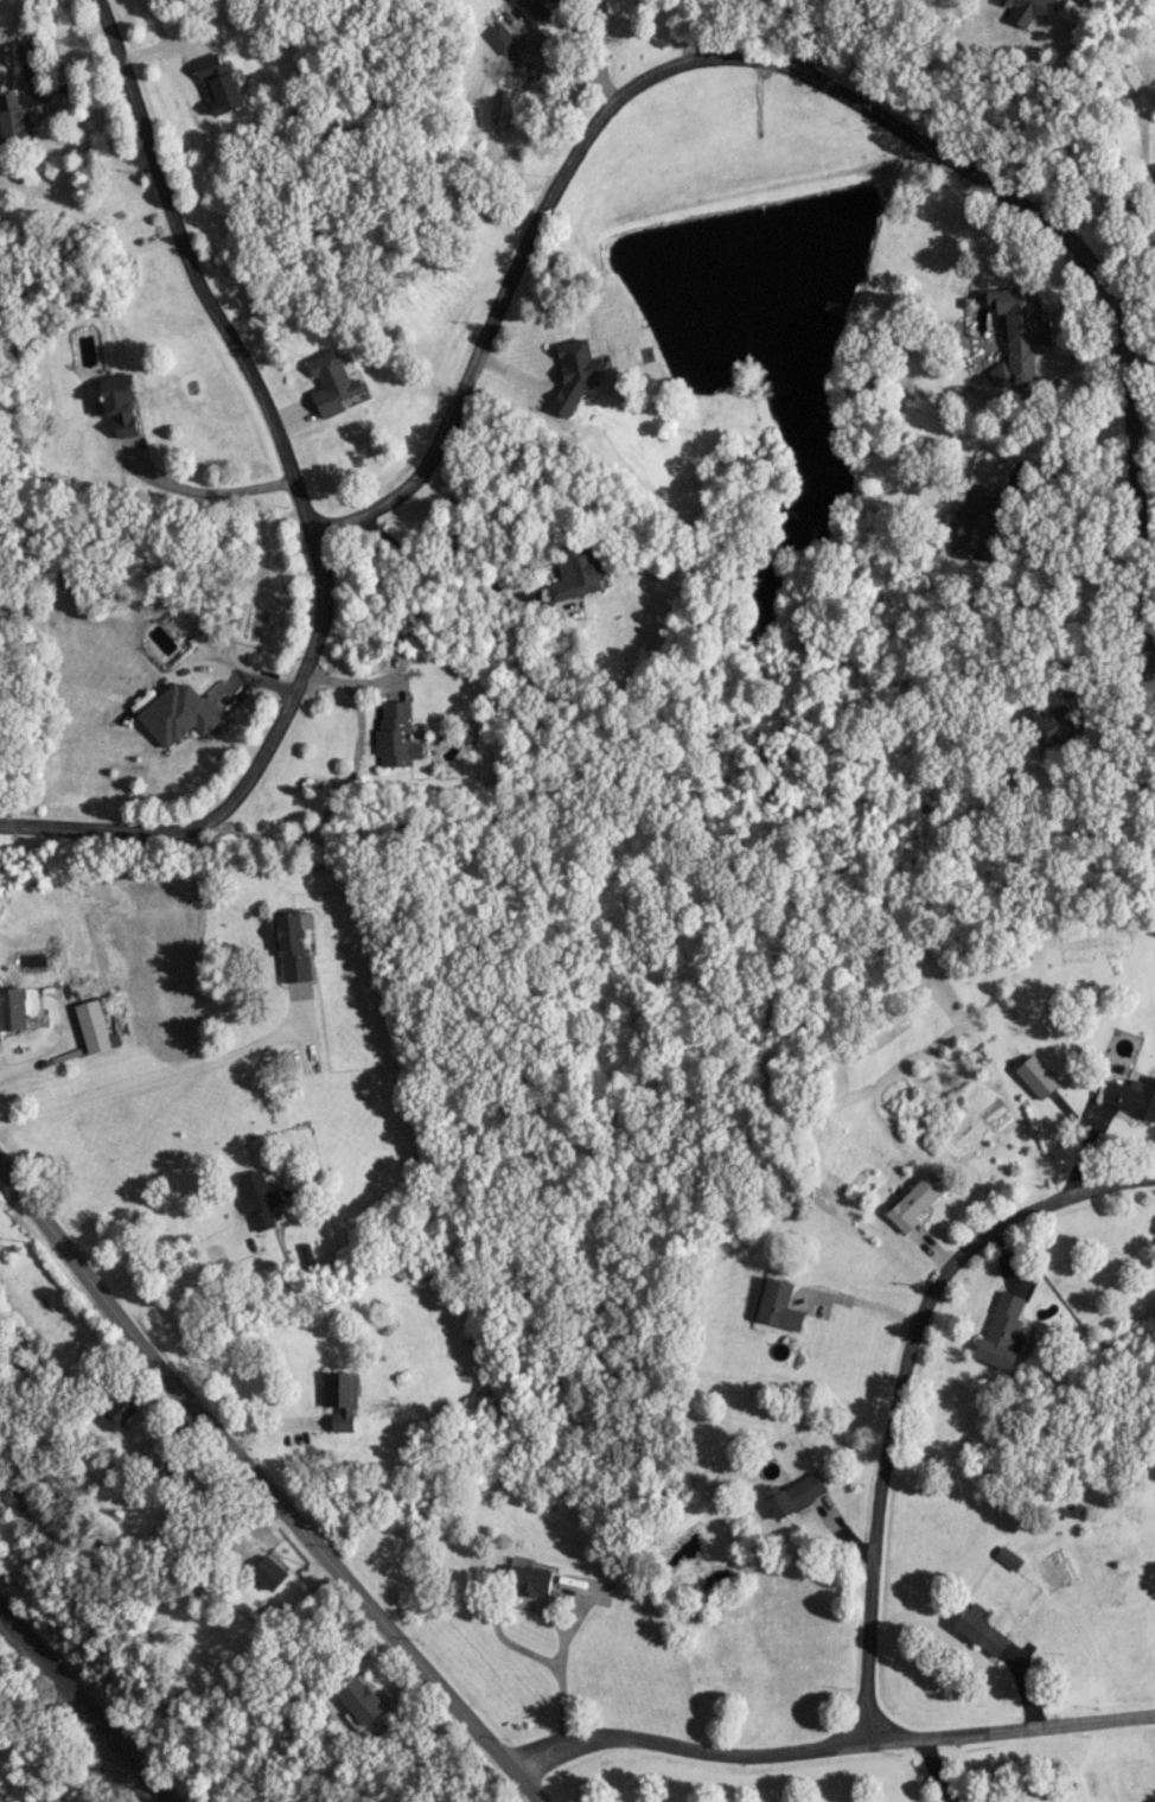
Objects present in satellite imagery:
building: (532, 9)
building: (1044, 11)
road: (817, 37)
building: (499, 38)
building: (24, 50)
road: (561, 64)
road: (806, 75)
building: (1127, 79)
building: (219, 83)
road: (1047, 109)
building: (1153, 172)
road: (1127, 205)
building: (1021, 329)
building: (575, 374)
building: (332, 383)
road: (1014, 488)
road: (209, 491)
road: (302, 511)
building: (976, 521)
road: (444, 572)
building: (576, 573)
road: (225, 669)
road: (1151, 673)
building: (178, 713)
building: (1057, 720)
building: (396, 736)
road: (337, 796)
building: (294, 943)
building: (12, 1008)
building: (92, 1025)
road: (34, 1062)
road: (167, 1075)
building: (1035, 1076)
building: (1131, 1096)
building: (260, 1199)
building: (915, 1201)
road: (167, 1259)
road: (861, 1301)
building: (777, 1304)
building: (1002, 1332)
road: (902, 1386)
building: (340, 1399)
building: (117, 1414)
building: (152, 1453)
road: (263, 1488)
building: (793, 1495)
building: (1008, 1558)
building: (268, 1573)
building: (530, 1578)
building: (981, 1632)
road: (499, 1635)
railway: (82, 1704)
building: (362, 1705)
road: (830, 1745)
road: (939, 1769)
building: (1047, 1801)

